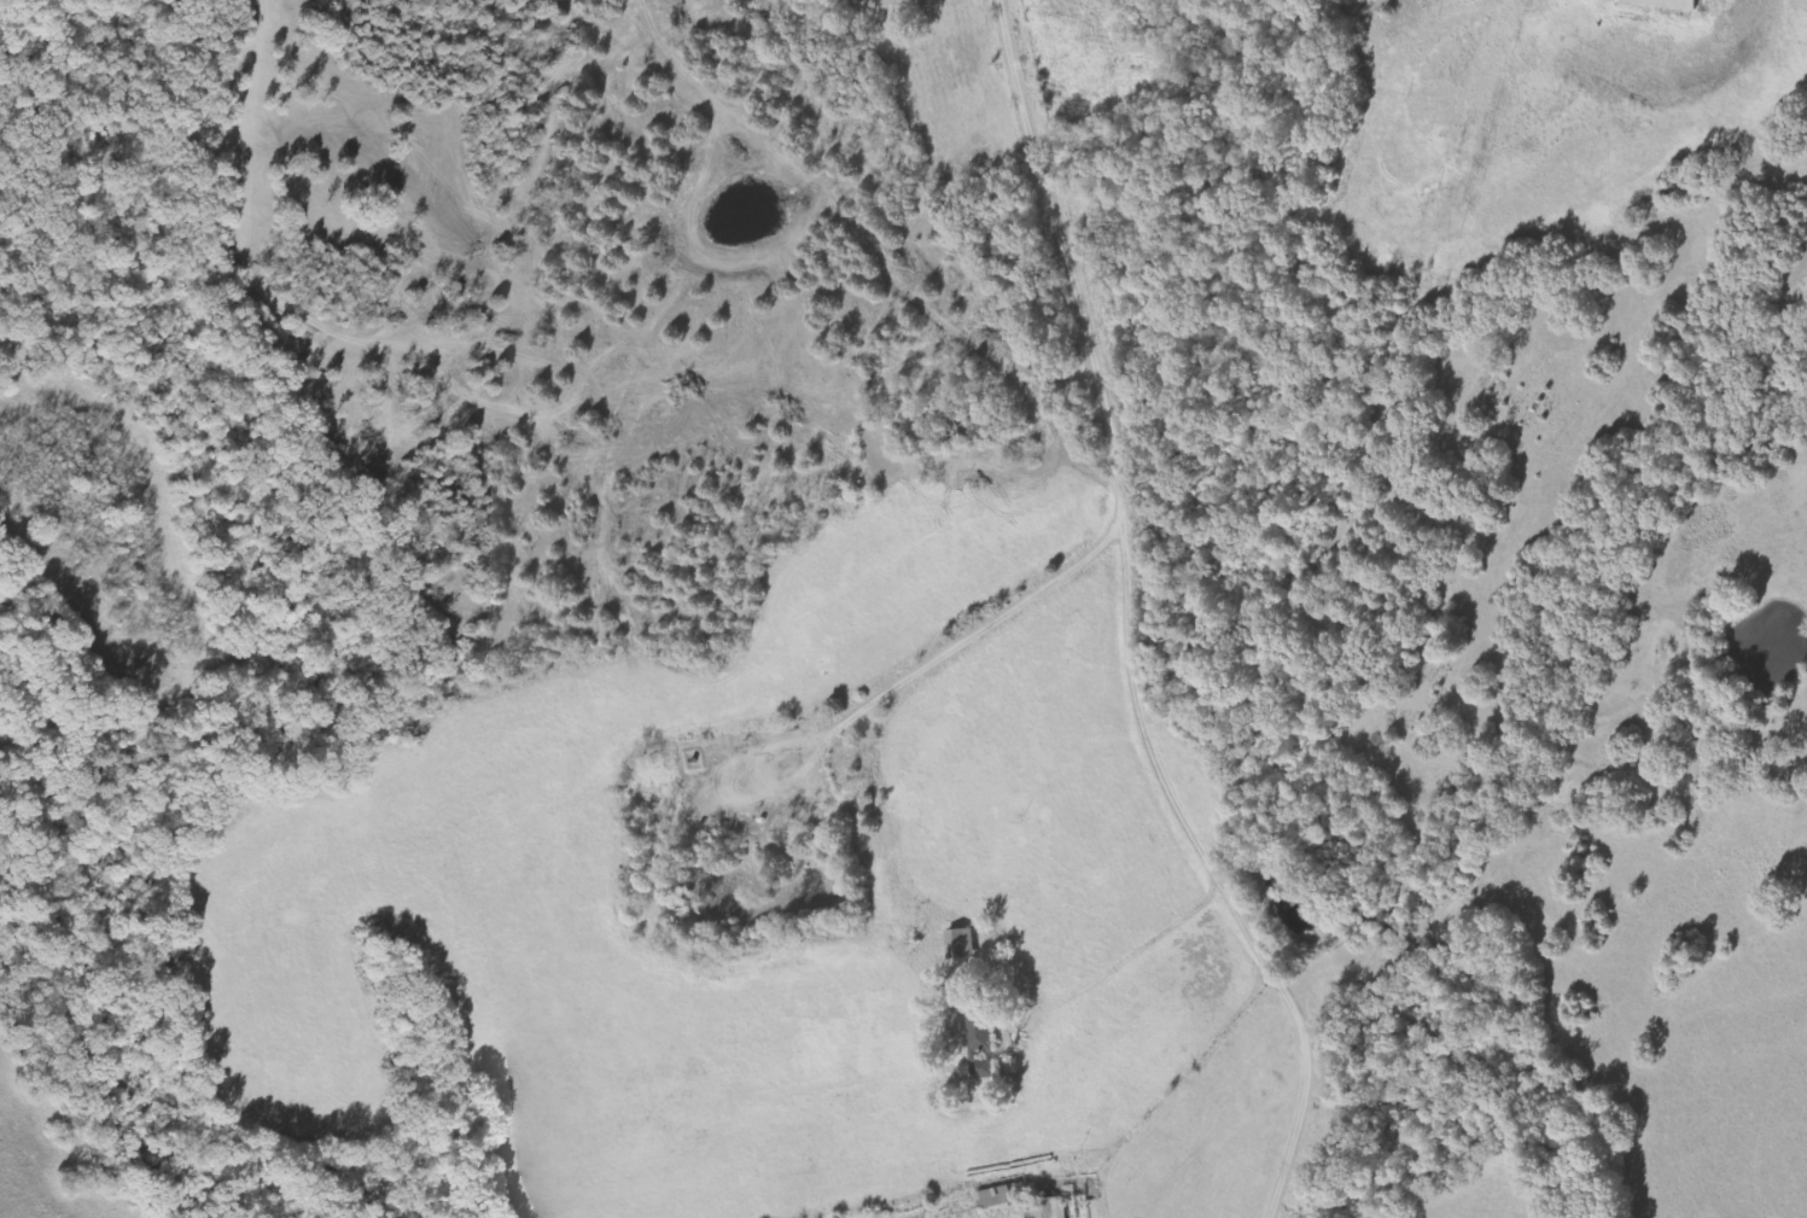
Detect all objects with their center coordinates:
building: (1669, 4)
road: (1031, 128)
building: (962, 944)
building: (983, 1045)
building: (996, 1197)
building: (1048, 1208)

